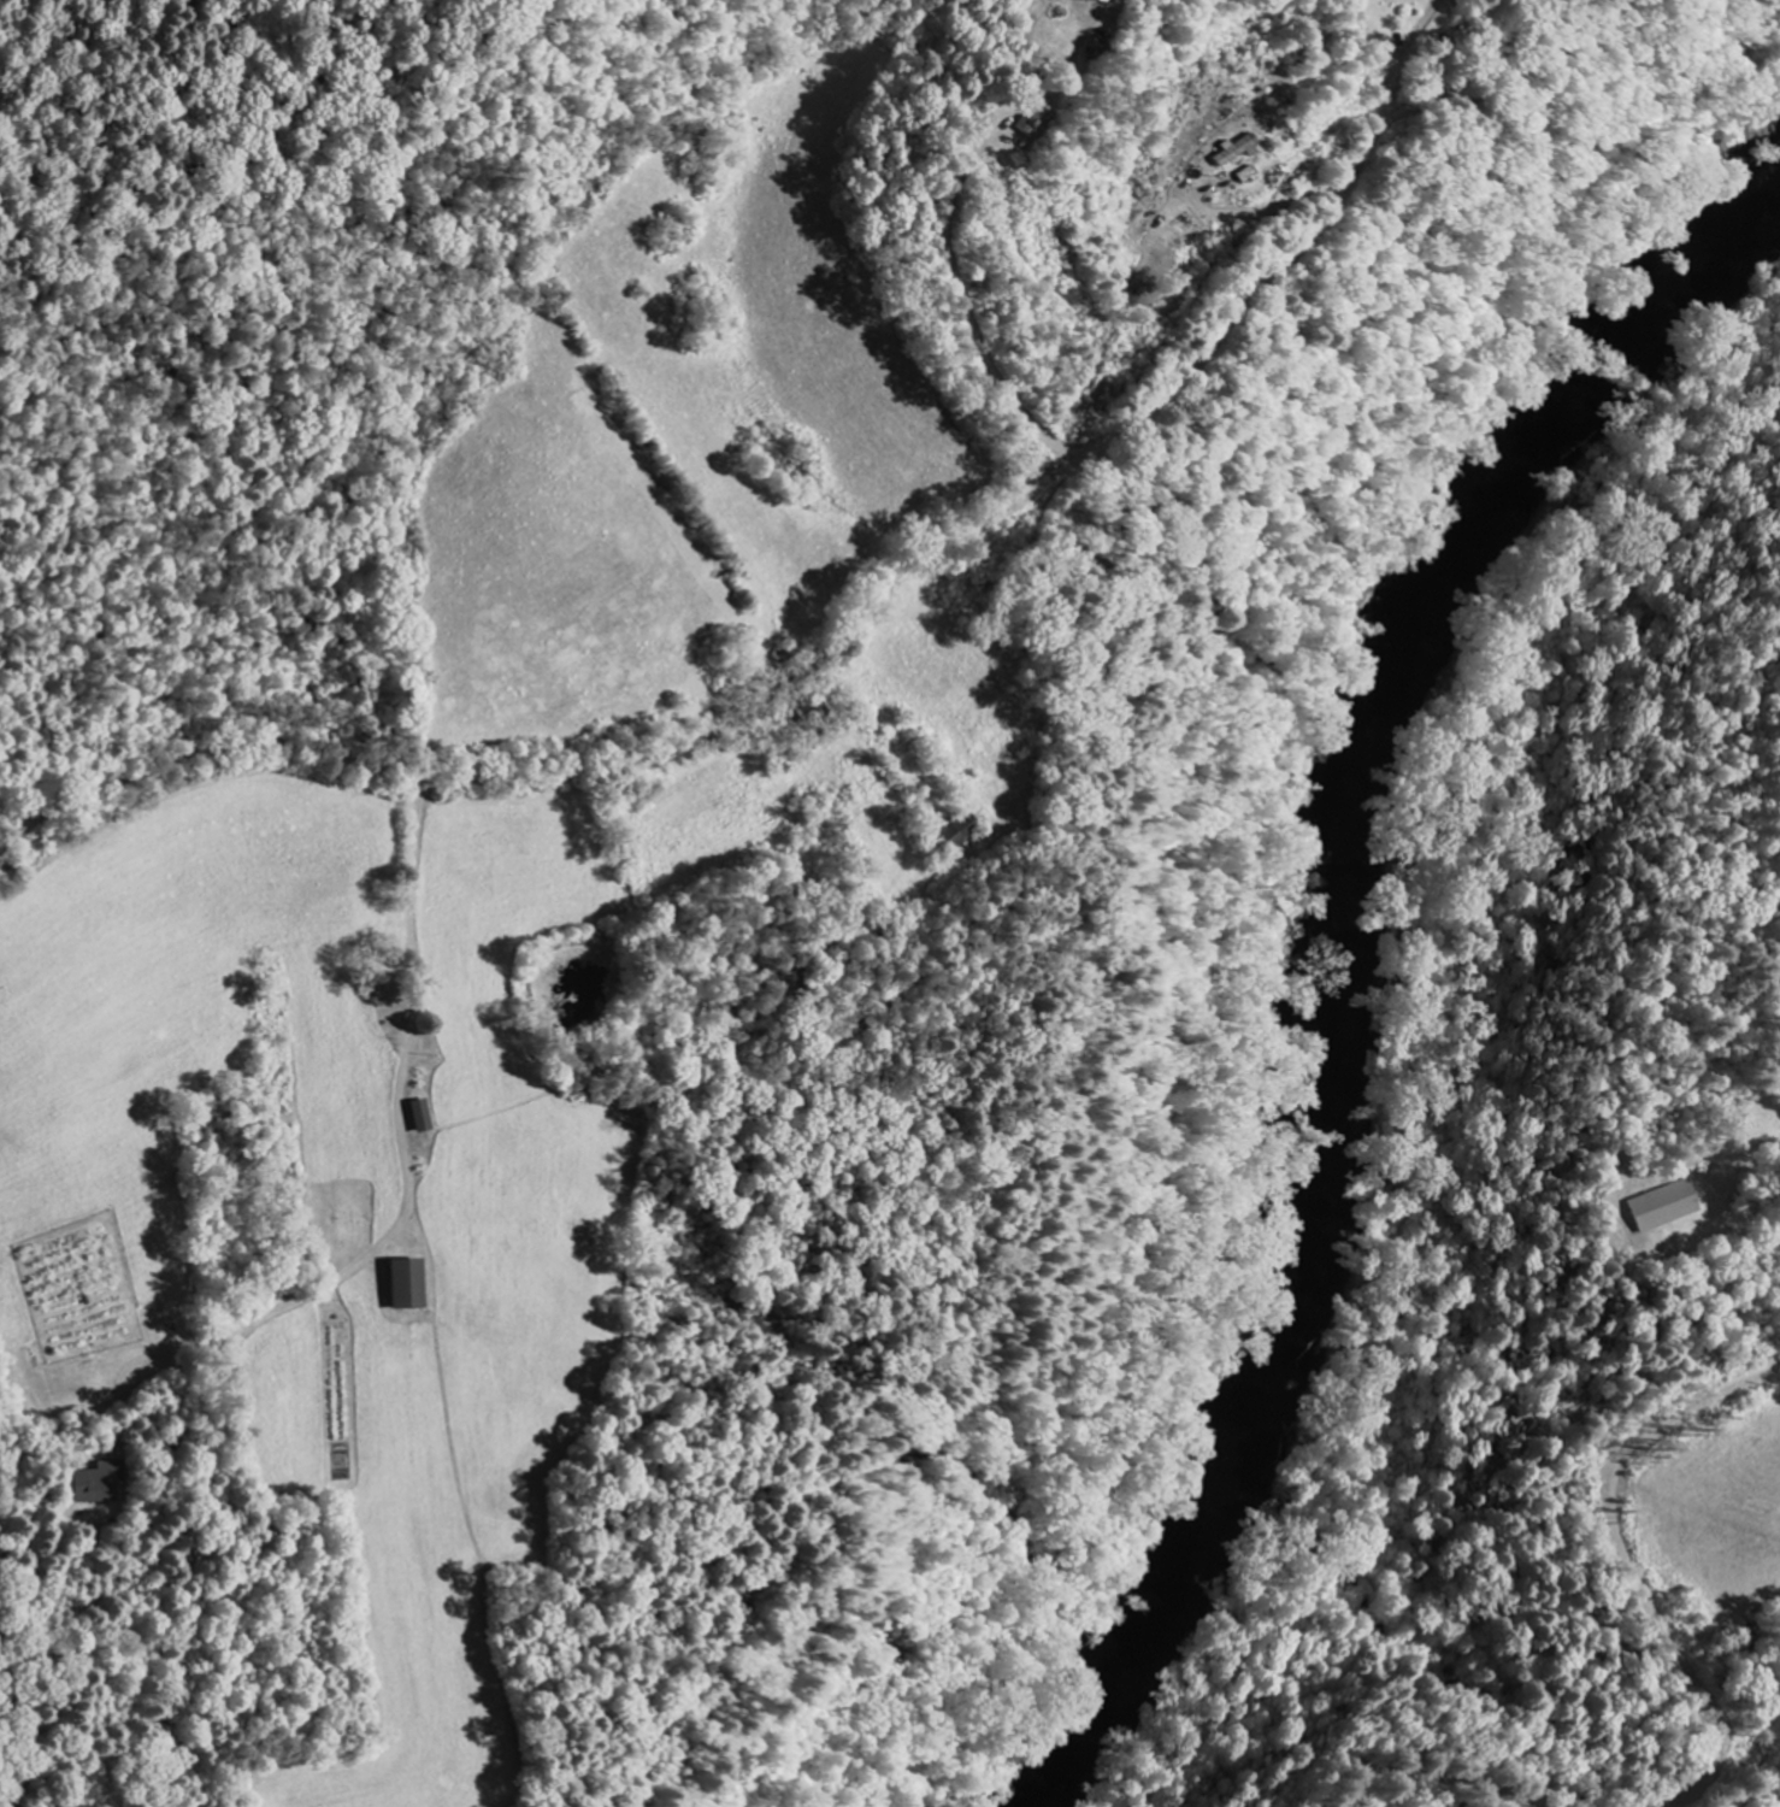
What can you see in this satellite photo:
building: (1100, 0)
building: (1098, 43)
road: (1401, 52)
building: (1030, 118)
building: (1232, 147)
road: (1200, 187)
road: (947, 236)
road: (860, 610)
river: (1332, 960)
building: (419, 1109)
road: (406, 1169)
building: (1666, 1208)
building: (403, 1279)
building: (95, 1478)
road: (1626, 1596)
road: (1455, 1801)

